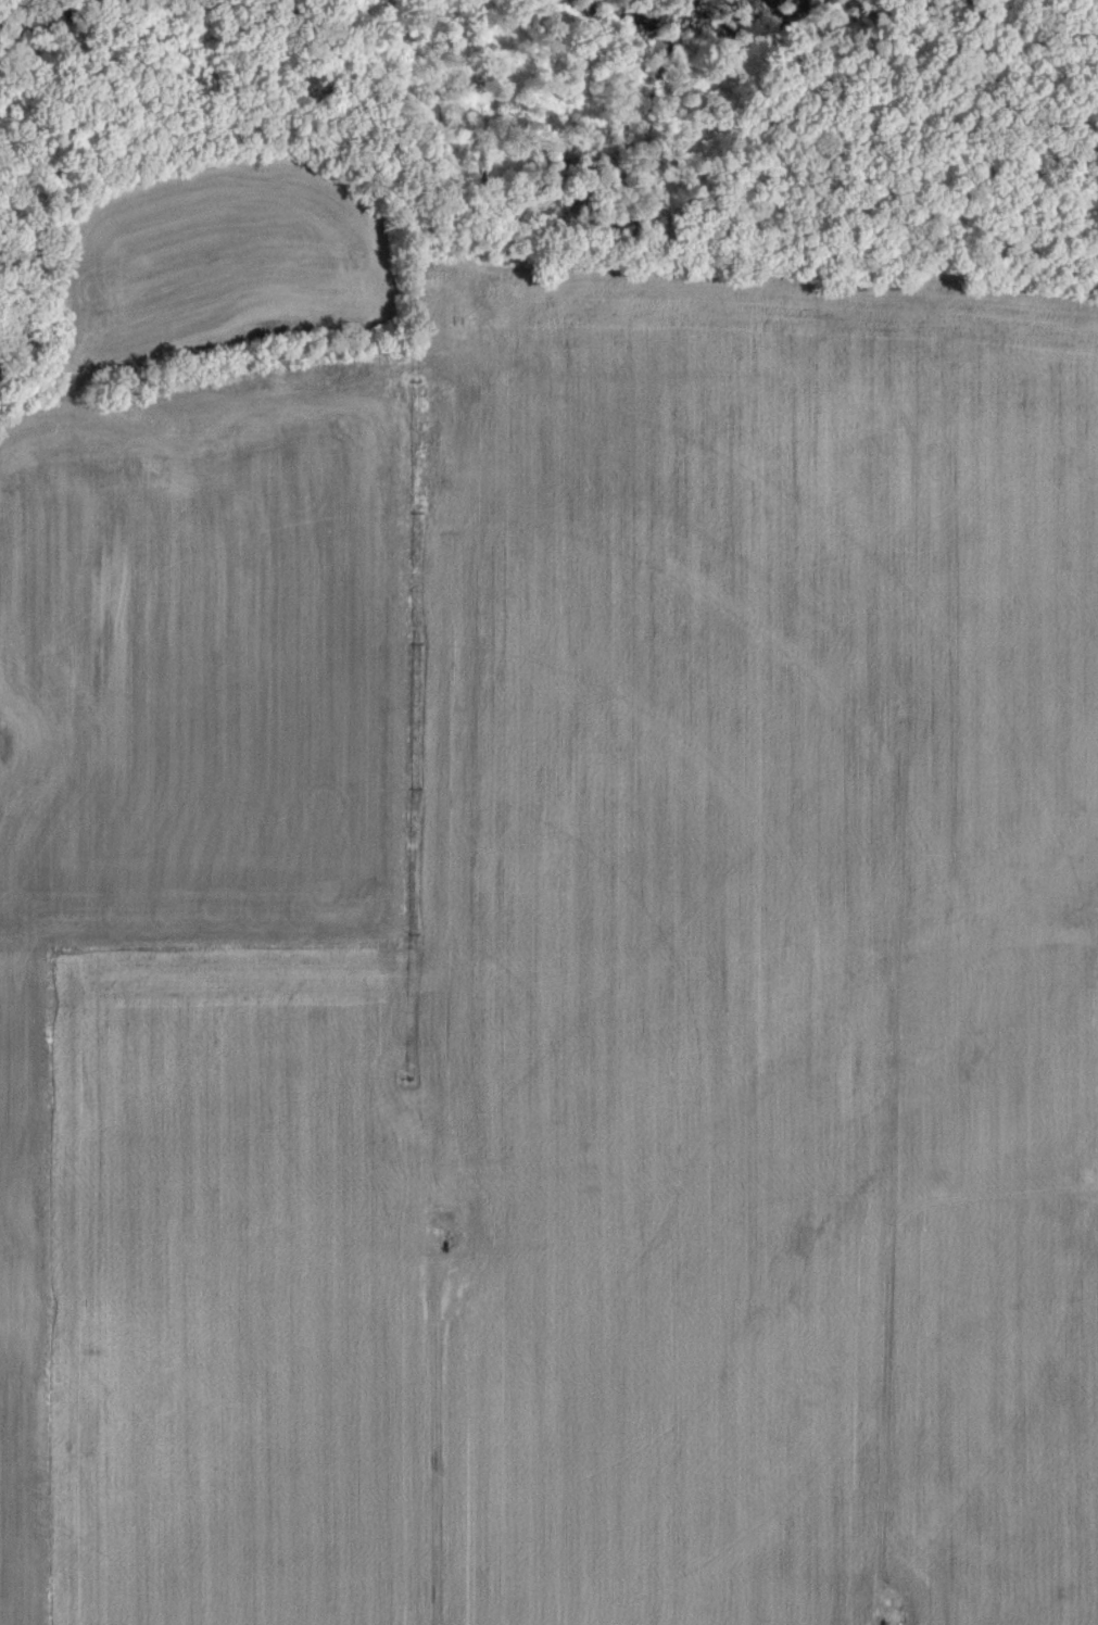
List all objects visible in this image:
road: (453, 368)
road: (244, 395)
road: (459, 417)
road: (893, 1166)
road: (436, 1437)

